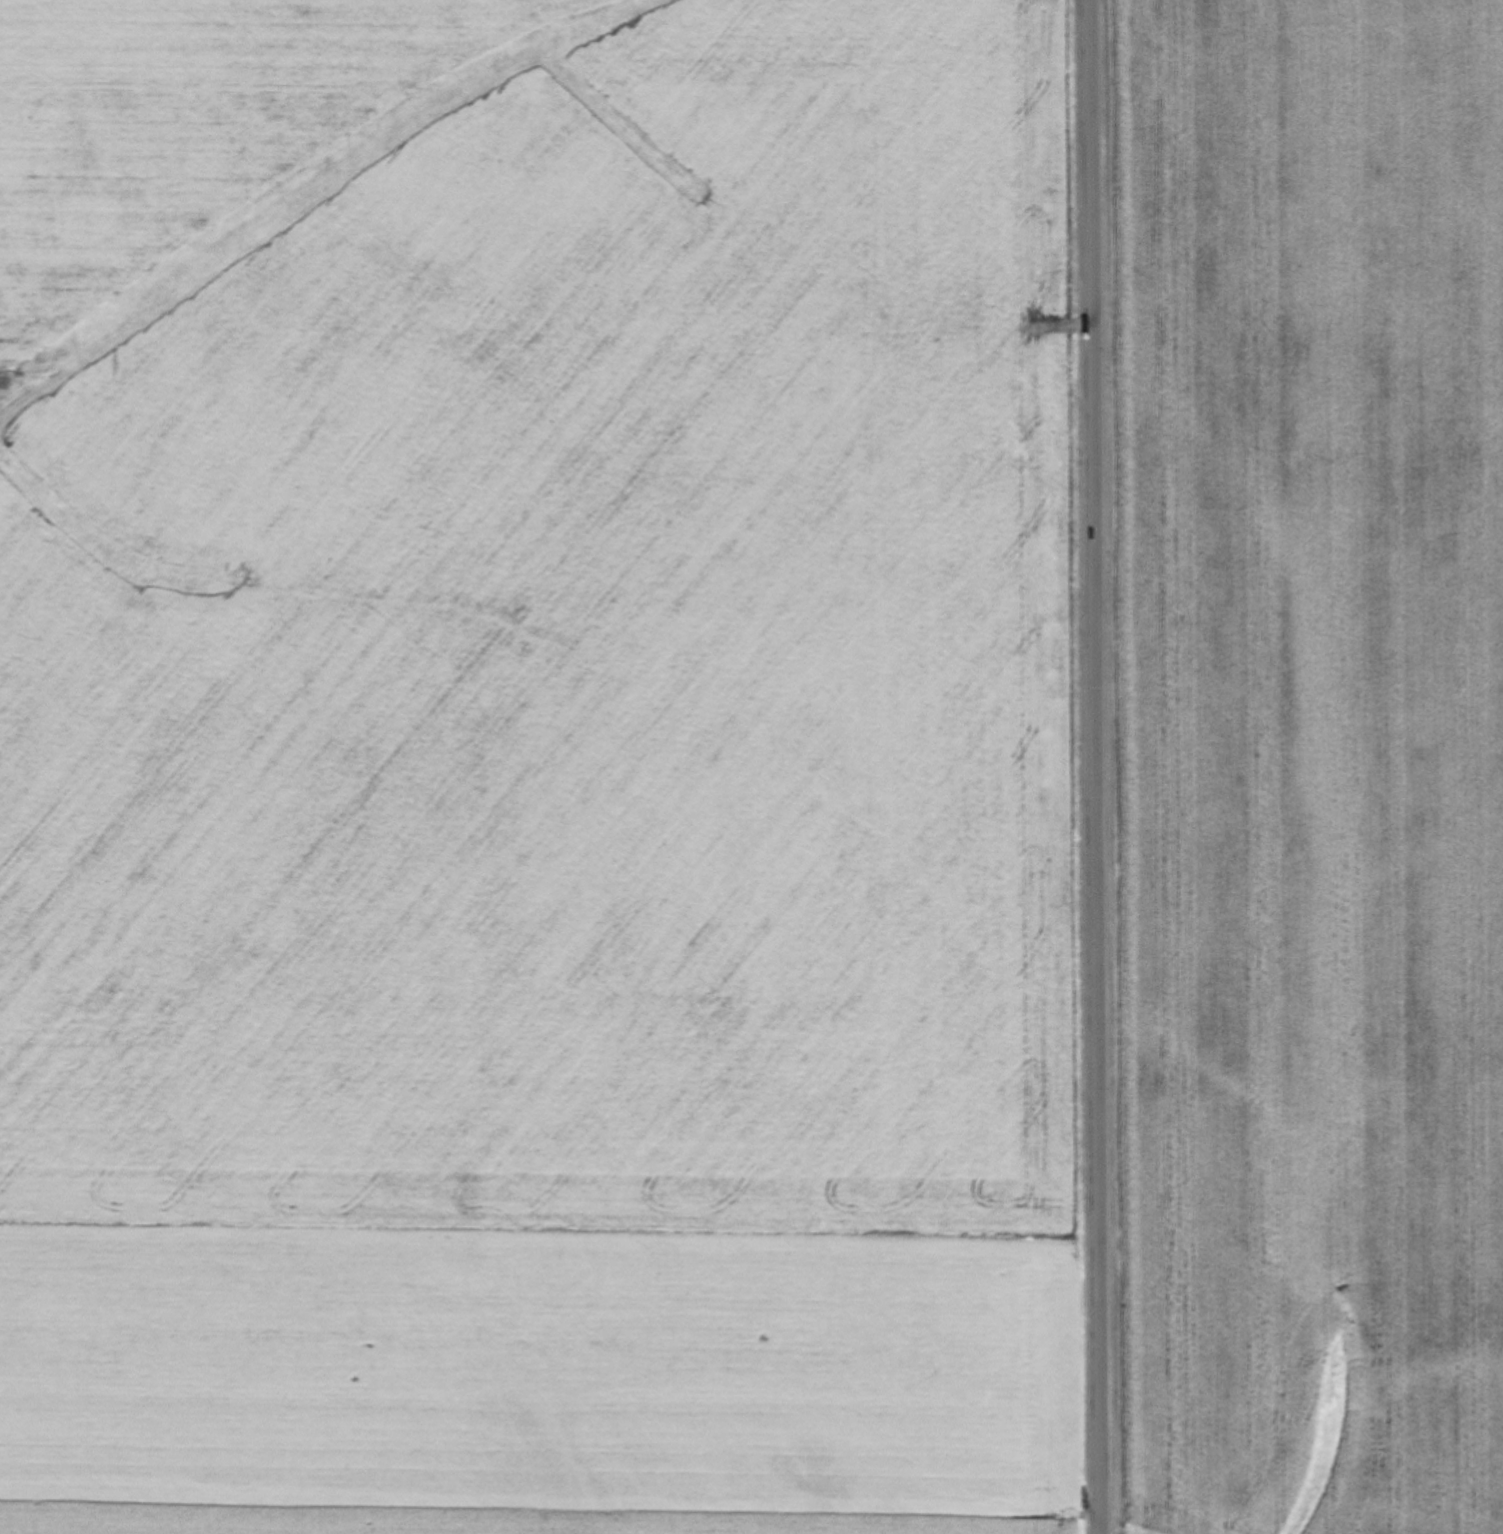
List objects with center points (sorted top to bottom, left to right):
road: (1082, 767)

